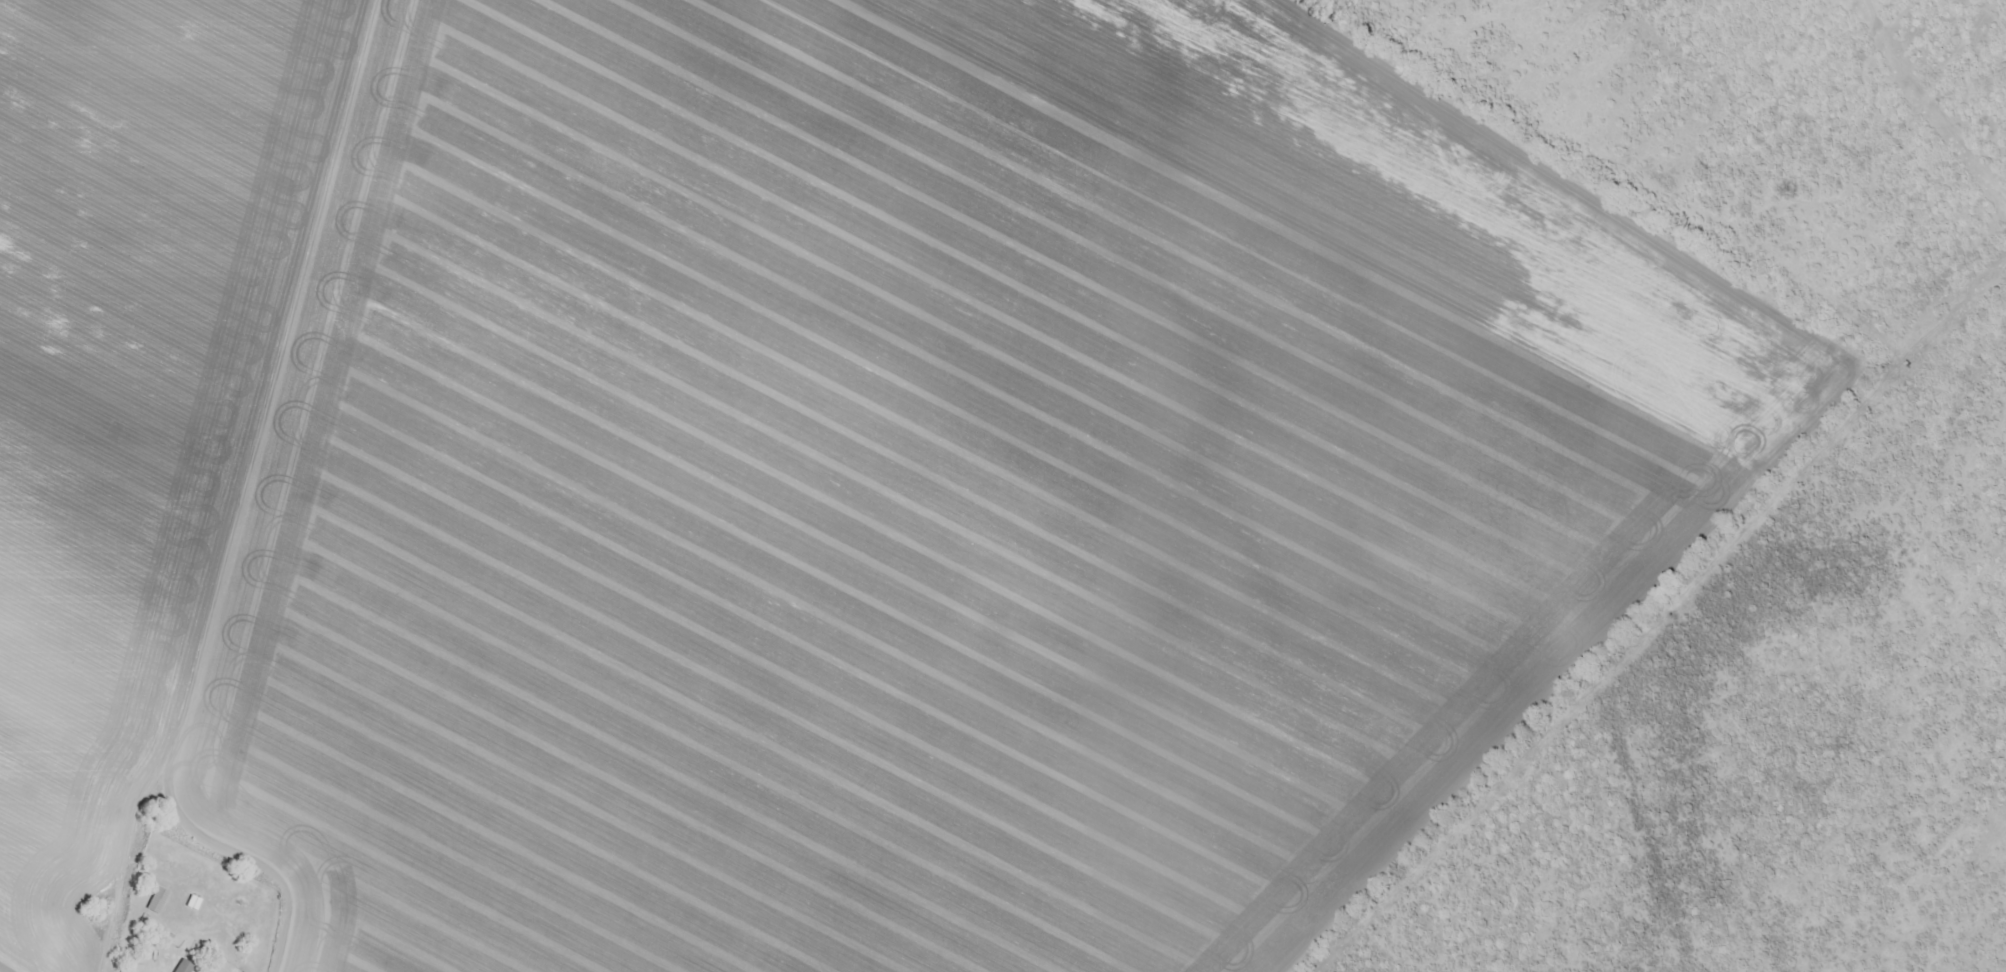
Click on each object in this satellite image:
building: (158, 901)
road: (10, 965)
building: (186, 967)

